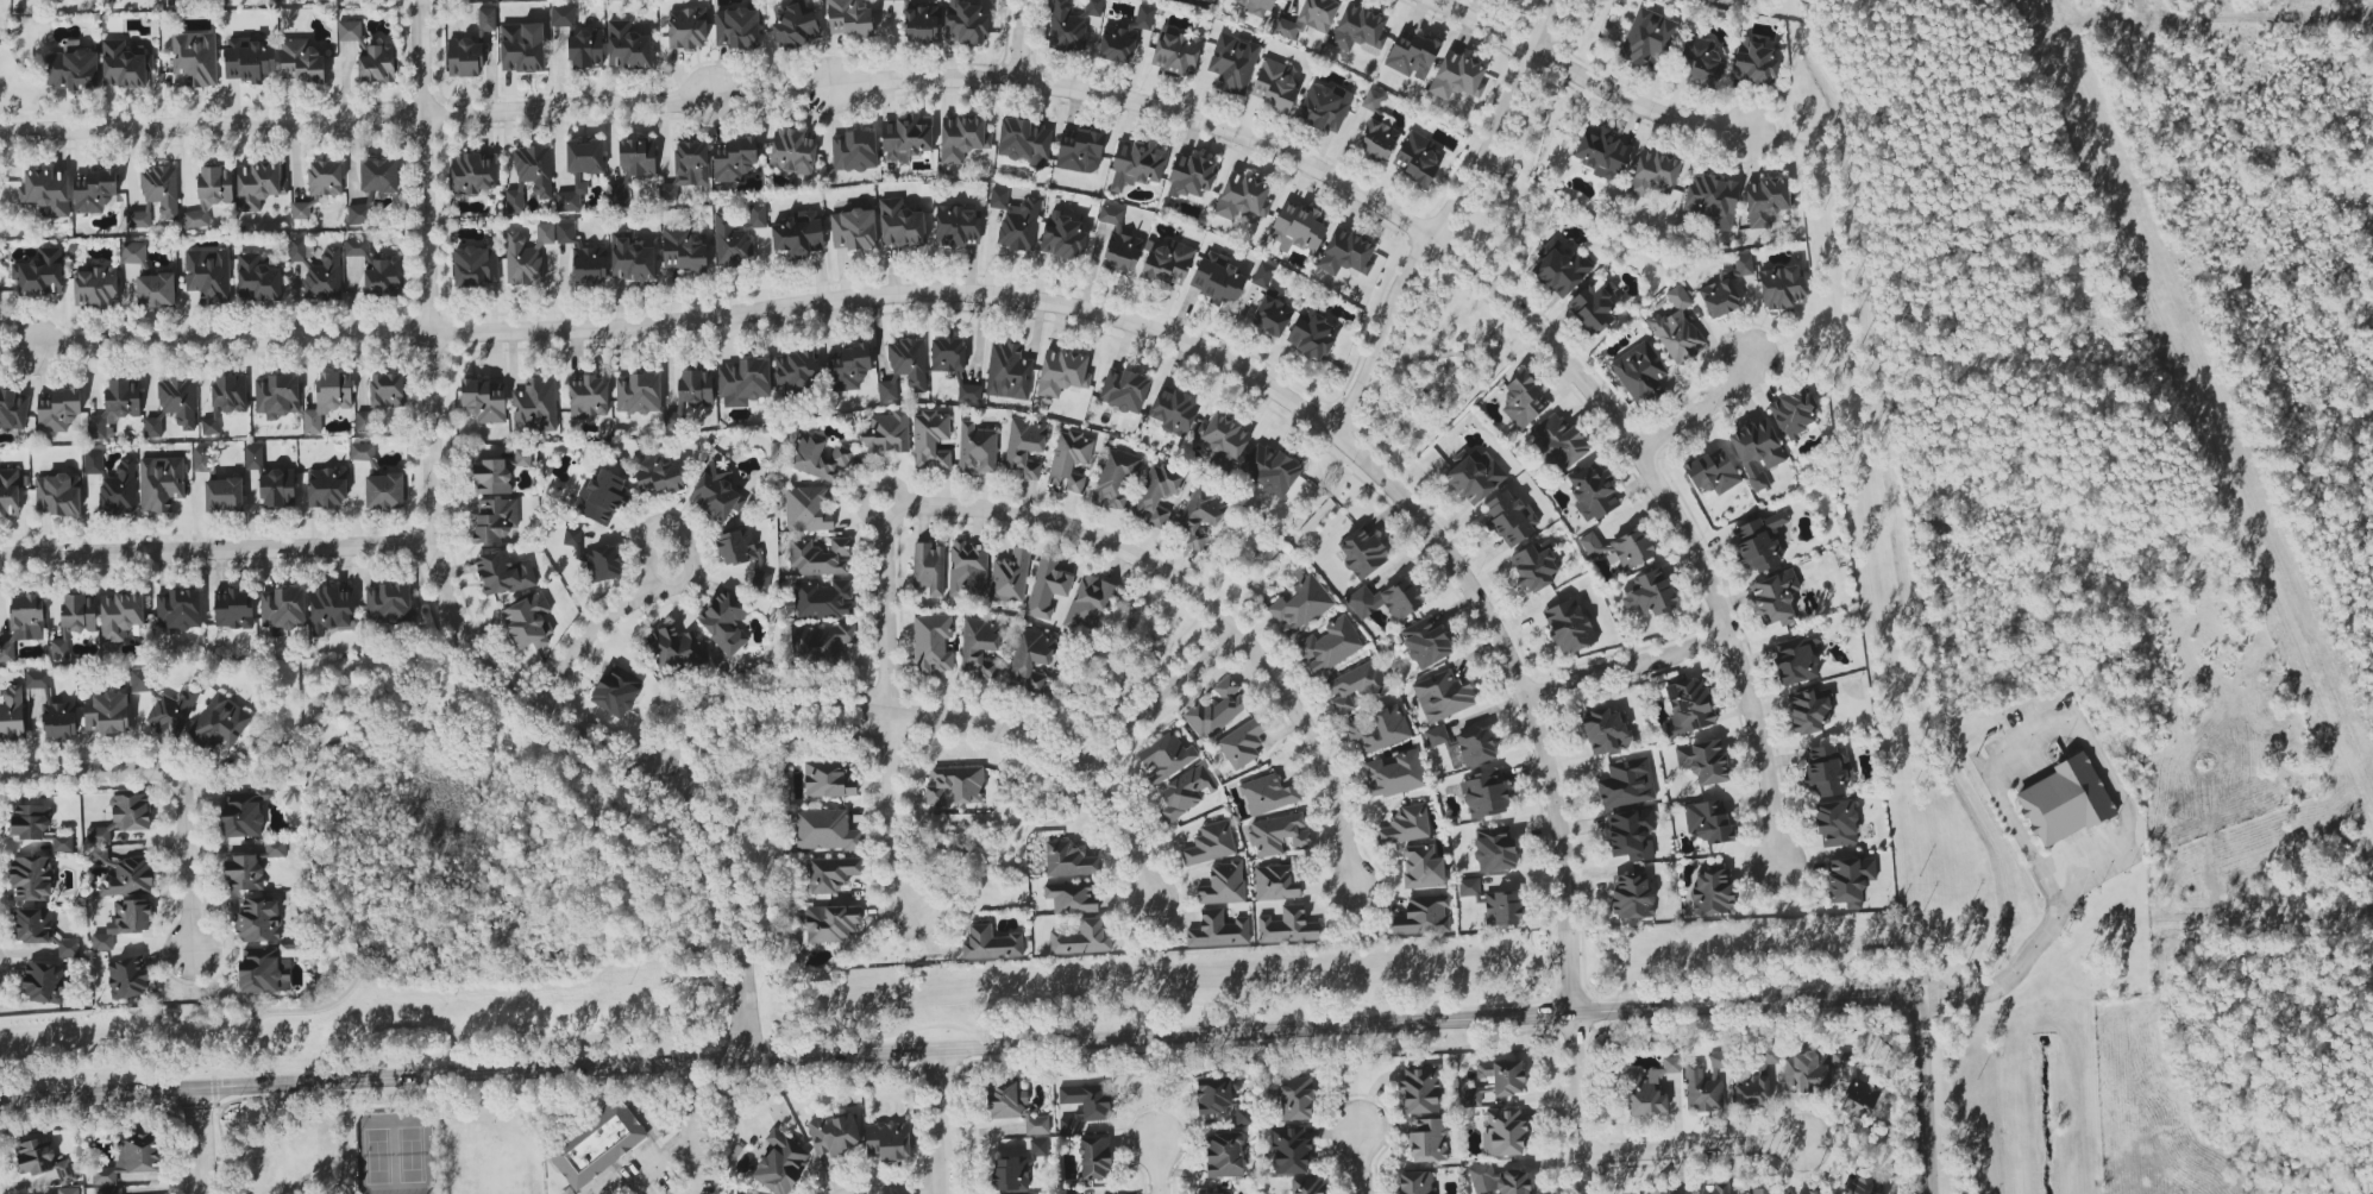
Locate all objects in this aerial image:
building: (1209, 0)
building: (1515, 0)
building: (177, 1)
building: (1256, 6)
building: (1093, 7)
building: (848, 18)
building: (486, 19)
building: (1307, 19)
building: (965, 23)
building: (793, 24)
building: (921, 24)
building: (688, 27)
building: (737, 29)
building: (1066, 29)
building: (1358, 29)
park: (1586, 29)
building: (349, 31)
building: (1124, 37)
building: (1646, 37)
building: (579, 39)
road: (1018, 39)
building: (627, 46)
building: (522, 48)
building: (1176, 51)
building: (1412, 55)
building: (195, 58)
building: (465, 58)
building: (302, 59)
building: (247, 61)
building: (1700, 61)
building: (377, 63)
building: (1232, 63)
building: (1754, 63)
building: (124, 65)
building: (73, 70)
road: (1580, 73)
building: (1457, 76)
building: (1274, 84)
road: (762, 94)
building: (1373, 100)
building: (1323, 108)
road: (350, 119)
building: (906, 138)
building: (962, 138)
building: (1377, 140)
building: (1025, 142)
building: (792, 151)
building: (854, 151)
building: (1080, 152)
building: (1602, 153)
building: (638, 156)
building: (584, 157)
building: (733, 159)
building: (1415, 159)
building: (1136, 164)
building: (688, 168)
building: (472, 172)
building: (1653, 172)
building: (379, 175)
building: (529, 176)
building: (1191, 177)
park: (1515, 177)
building: (325, 180)
building: (258, 184)
building: (161, 189)
building: (94, 190)
building: (46, 191)
building: (211, 194)
building: (619, 195)
building: (1243, 196)
building: (572, 199)
building: (1710, 200)
building: (1766, 201)
building: (301, 210)
building: (358, 214)
road: (1437, 214)
building: (757, 216)
building: (1110, 216)
building: (139, 219)
building: (1016, 220)
building: (900, 225)
building: (956, 226)
building: (1297, 228)
building: (853, 230)
building: (799, 234)
building: (1062, 237)
building: (730, 243)
building: (296, 249)
building: (683, 250)
building: (1122, 252)
building: (1346, 252)
building: (133, 253)
building: (527, 256)
building: (630, 258)
building: (1167, 263)
building: (1744, 264)
building: (475, 268)
road: (1468, 268)
building: (375, 269)
building: (1561, 269)
building: (38, 274)
building: (208, 275)
building: (324, 276)
building: (1217, 278)
building: (257, 279)
building: (1782, 287)
building: (96, 288)
building: (156, 290)
building: (1719, 297)
building: (1269, 304)
building: (1594, 306)
building: (1677, 328)
road: (403, 334)
building: (1312, 335)
road: (13, 346)
building: (953, 365)
building: (848, 367)
building: (904, 367)
park: (1435, 367)
building: (796, 372)
building: (1007, 372)
building: (1062, 372)
building: (1639, 372)
building: (743, 382)
building: (695, 389)
building: (387, 390)
building: (1124, 390)
building: (638, 392)
building: (277, 396)
building: (586, 397)
building: (123, 398)
building: (177, 400)
building: (225, 400)
building: (328, 400)
building: (484, 401)
building: (1523, 401)
building: (535, 406)
building: (13, 409)
building: (58, 410)
building: (1174, 410)
road: (1700, 411)
building: (1794, 414)
building: (364, 421)
building: (98, 427)
building: (152, 427)
building: (887, 433)
building: (930, 440)
building: (1225, 440)
building: (1559, 442)
building: (978, 447)
building: (1024, 447)
building: (1757, 451)
building: (362, 452)
road: (1358, 454)
building: (253, 457)
building: (816, 458)
building: (201, 459)
building: (1069, 460)
building: (93, 461)
building: (1270, 469)
building: (1712, 472)
building: (497, 473)
building: (657, 473)
building: (1475, 476)
building: (1116, 479)
building: (161, 483)
building: (326, 488)
road: (867, 488)
building: (119, 489)
building: (277, 489)
building: (384, 491)
building: (716, 492)
building: (1156, 492)
building: (1593, 492)
building: (10, 494)
building: (57, 495)
building: (224, 495)
building: (601, 497)
building: (806, 509)
building: (1200, 515)
building: (1509, 517)
building: (495, 520)
building: (572, 538)
building: (1759, 542)
building: (737, 547)
building: (1620, 548)
road: (215, 551)
building: (1362, 553)
building: (820, 558)
building: (603, 563)
building: (929, 567)
building: (967, 568)
building: (1533, 568)
building: (503, 573)
building: (1010, 576)
building: (761, 579)
road: (659, 584)
building: (1047, 586)
building: (1650, 592)
road: (444, 595)
building: (1775, 598)
building: (823, 599)
building: (1386, 601)
building: (1090, 603)
building: (388, 604)
road: (883, 605)
building: (1300, 607)
building: (283, 608)
building: (178, 609)
building: (233, 609)
building: (331, 609)
road: (1216, 610)
building: (120, 615)
building: (528, 621)
building: (74, 622)
building: (24, 623)
building: (724, 623)
building: (1569, 626)
building: (824, 642)
building: (933, 642)
building: (1425, 642)
building: (1330, 646)
building: (980, 648)
building: (674, 652)
building: (1796, 660)
building: (1030, 661)
road: (1625, 666)
building: (140, 680)
building: (1355, 686)
building: (616, 691)
building: (1443, 696)
road: (1164, 702)
building: (1689, 706)
building: (54, 709)
building: (1217, 709)
building: (1808, 710)
building: (106, 712)
building: (171, 712)
building: (12, 714)
road: (949, 719)
building: (221, 722)
building: (1379, 729)
building: (1605, 730)
building: (1243, 742)
building: (1463, 746)
park: (1053, 758)
building: (1166, 758)
building: (1703, 761)
road: (249, 769)
building: (1828, 769)
road: (81, 773)
building: (1394, 774)
building: (828, 779)
building: (1626, 783)
building: (956, 785)
building: (1186, 792)
building: (1268, 794)
building: (1484, 794)
building: (2061, 802)
building: (243, 812)
building: (123, 817)
road: (889, 818)
building: (1707, 821)
building: (30, 822)
building: (1835, 823)
building: (1406, 825)
building: (825, 830)
building: (1279, 834)
building: (1631, 834)
park: (475, 843)
building: (1210, 843)
building: (62, 844)
building: (274, 849)
building: (1494, 849)
road: (321, 854)
building: (101, 855)
road: (184, 859)
building: (1068, 860)
building: (1423, 867)
building: (243, 873)
building: (833, 873)
building: (31, 878)
building: (128, 878)
building: (1850, 880)
building: (1275, 882)
building: (1223, 884)
building: (1468, 887)
building: (1712, 892)
building: (1072, 897)
building: (1631, 897)
building: (1502, 909)
building: (1423, 916)
building: (258, 920)
building: (124, 923)
building: (831, 923)
building: (33, 925)
building: (1287, 926)
building: (1218, 930)
building: (1081, 938)
building: (991, 943)
building: (68, 948)
building: (263, 970)
building: (127, 978)
building: (43, 982)
road: (2003, 986)
traffic signals: (1926, 1004)
road: (962, 1055)
building: (1841, 1060)
building: (1802, 1072)
building: (1500, 1077)
building: (1756, 1081)
road: (690, 1083)
building: (1703, 1086)
building: (1650, 1087)
building: (1419, 1089)
building: (1216, 1094)
building: (1295, 1098)
building: (1860, 1099)
road: (1928, 1099)
building: (1088, 1100)
road: (1575, 1104)
building: (1013, 1106)
building: (1243, 1114)
road: (690, 1120)
road: (941, 1125)
building: (1066, 1126)
building: (1503, 1131)
building: (835, 1135)
building: (887, 1140)
building: (1427, 1140)
road: (341, 1142)
road: (201, 1143)
building: (597, 1143)
park: (387, 1146)
building: (1038, 1146)
building: (1291, 1149)
road: (1685, 1149)
park: (395, 1152)
building: (1224, 1155)
building: (131, 1157)
building: (1094, 1157)
building: (43, 1160)
parking lot: (673, 1160)
road: (1360, 1161)
road: (660, 1162)
building: (780, 1163)
road: (692, 1165)
road: (1160, 1171)
building: (1011, 1173)
building: (1499, 1180)
building: (1414, 1182)
building: (1863, 1184)
building: (1308, 1186)
road: (350, 1188)
building: (1709, 1189)
building: (68, 1190)
building: (111, 1190)
building: (1073, 1192)
building: (1653, 1192)
building: (1758, 1192)
building: (1816, 1192)
building: (728, 1193)
road: (921, 1193)
building: (1212, 1193)

